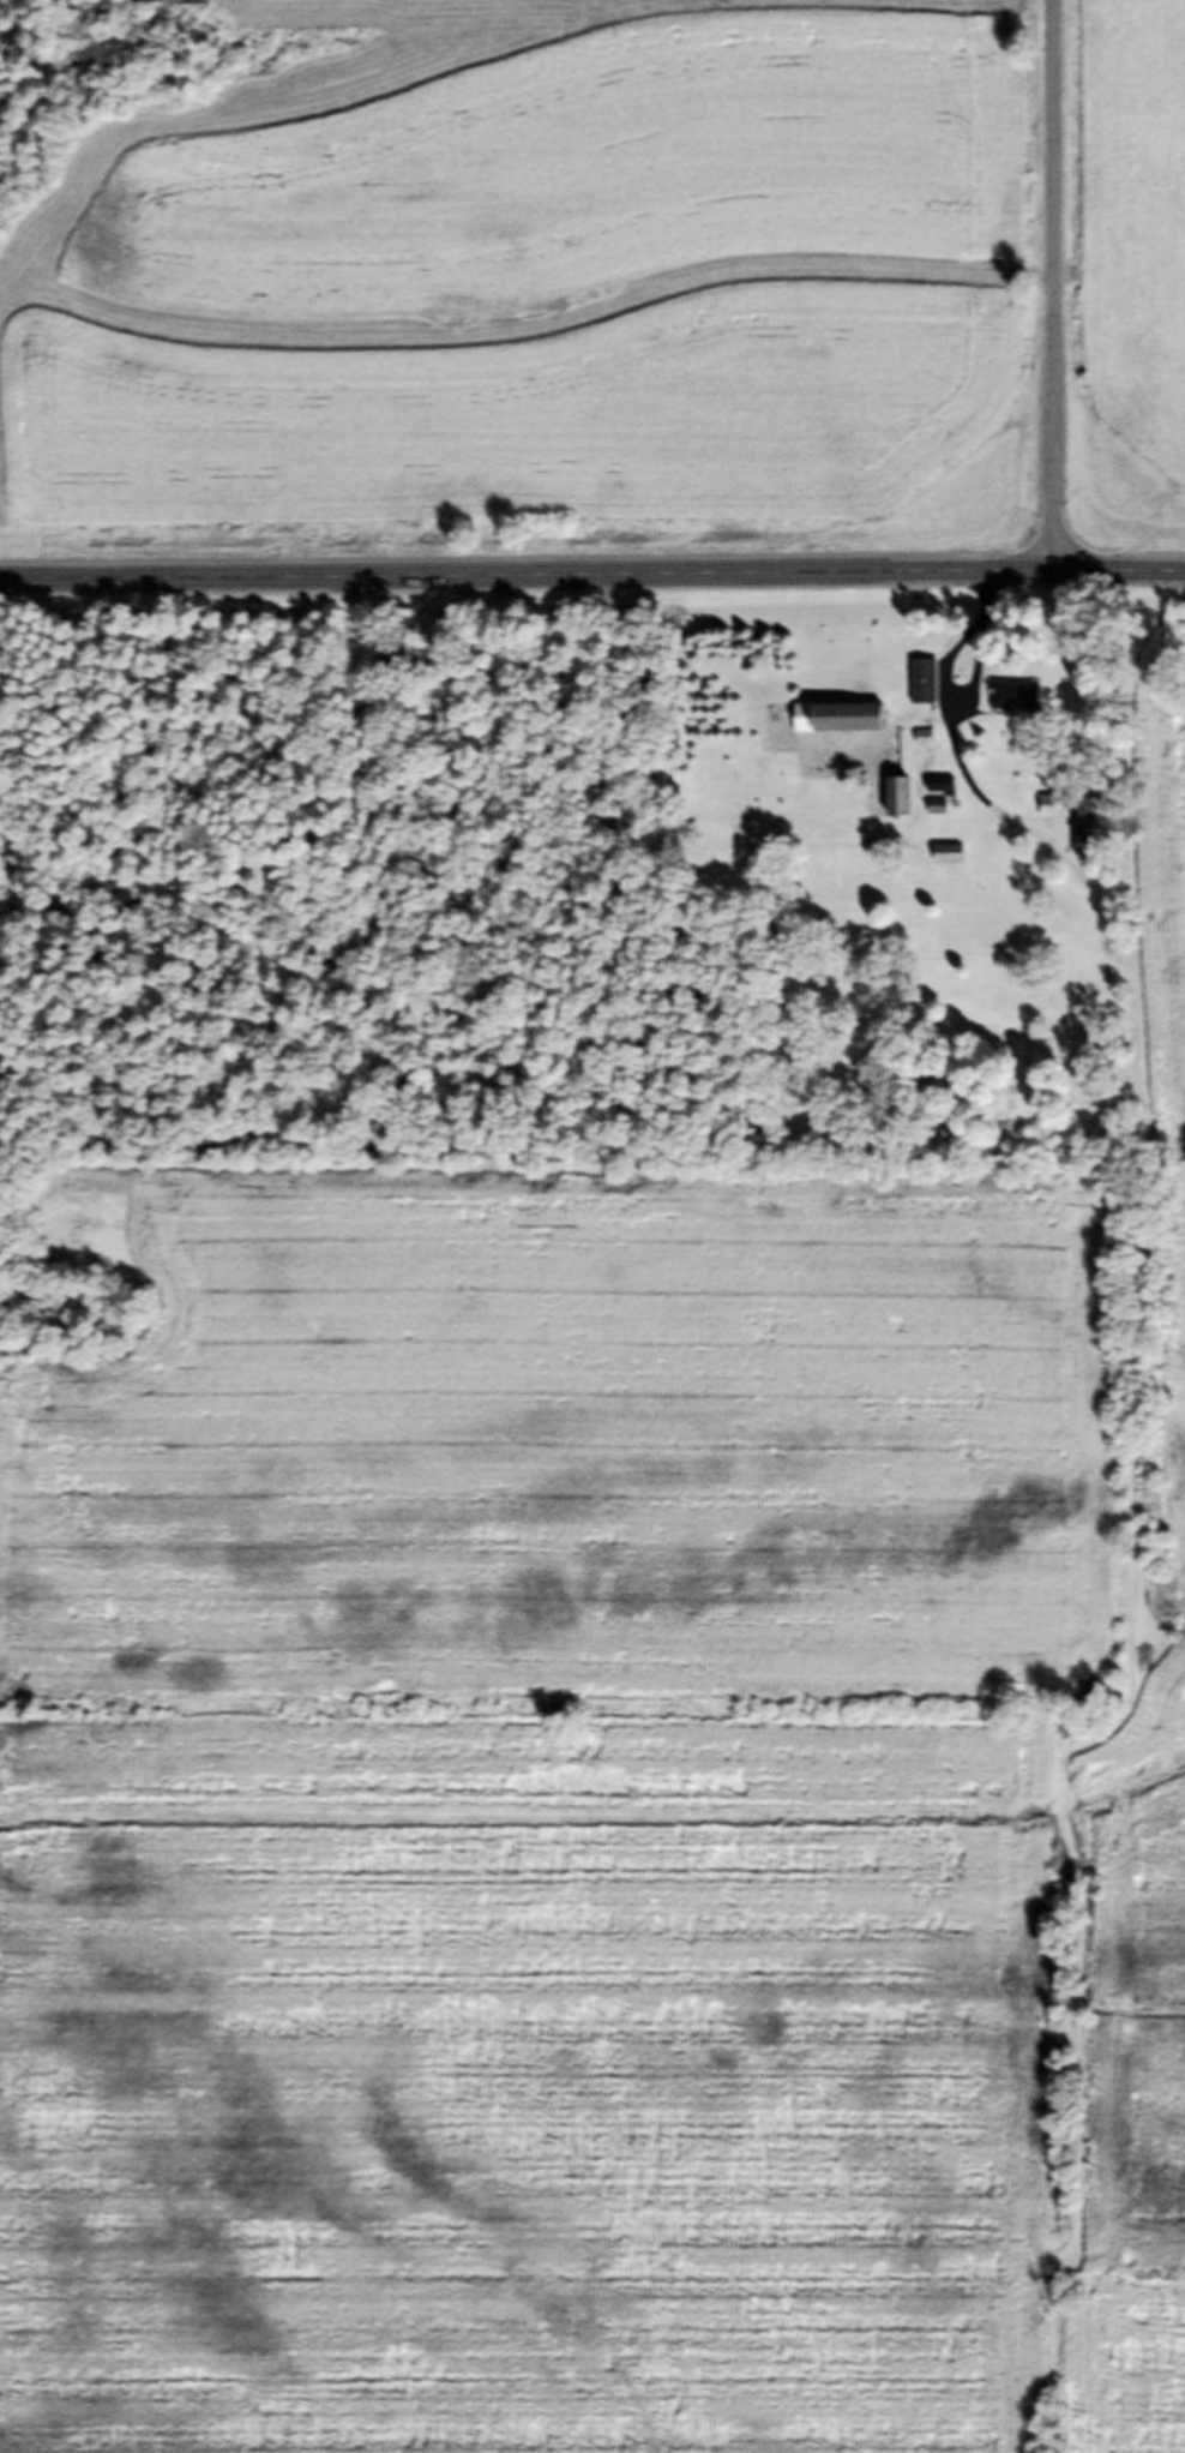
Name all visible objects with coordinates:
road: (1051, 290)
road: (592, 577)
building: (381, 664)
building: (922, 686)
building: (1013, 702)
building: (844, 724)
building: (1073, 824)

